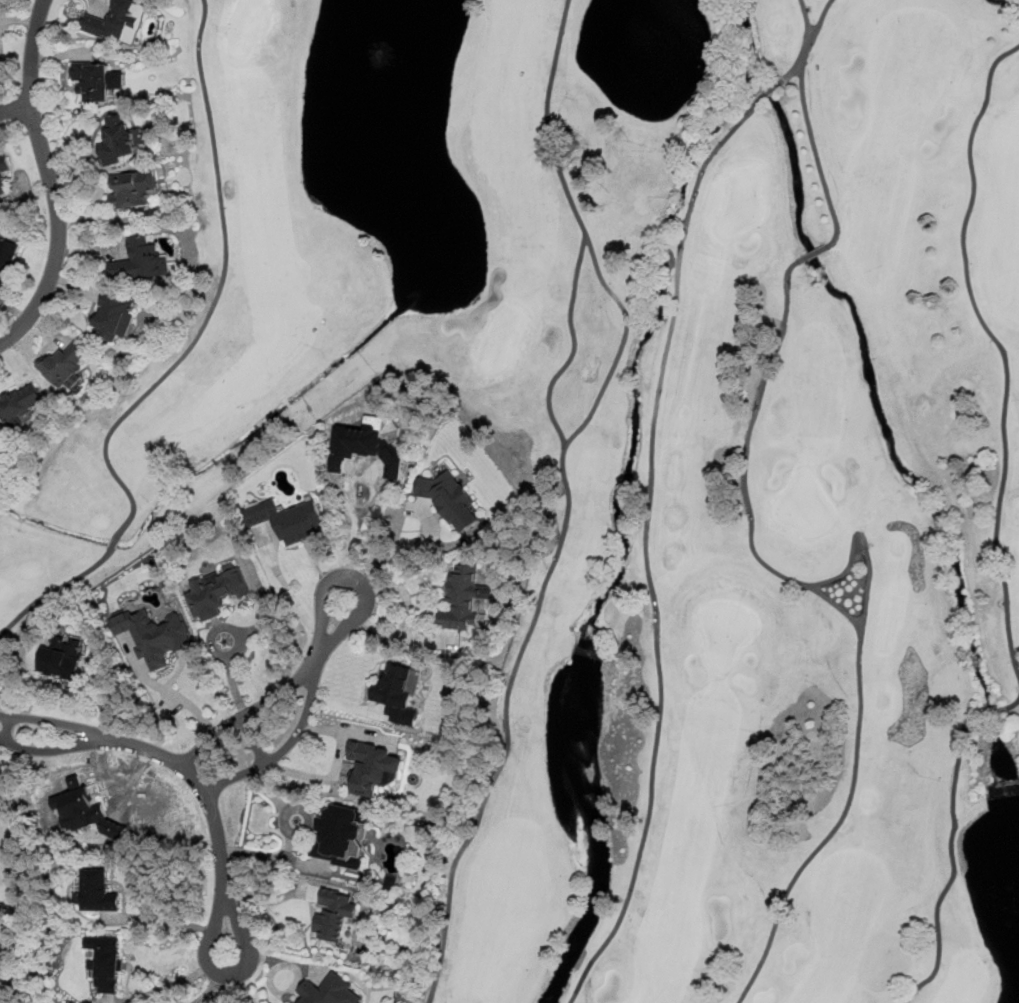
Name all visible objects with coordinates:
road: (806, 17)
building: (113, 21)
road: (794, 69)
building: (92, 82)
road: (16, 110)
road: (807, 122)
building: (116, 142)
building: (3, 173)
road: (50, 180)
building: (129, 192)
building: (7, 259)
building: (140, 262)
building: (113, 317)
road: (999, 345)
road: (571, 350)
building: (68, 369)
building: (19, 405)
building: (367, 449)
park: (647, 456)
road: (564, 493)
building: (450, 500)
building: (289, 521)
road: (352, 546)
road: (646, 550)
road: (865, 550)
road: (405, 553)
building: (220, 589)
road: (293, 596)
building: (461, 601)
road: (848, 616)
road: (409, 617)
building: (154, 636)
building: (62, 659)
building: (394, 687)
road: (173, 694)
road: (1013, 704)
road: (250, 710)
road: (305, 719)
road: (253, 739)
building: (373, 768)
road: (184, 769)
building: (79, 810)
building: (346, 835)
road: (954, 866)
park: (10, 892)
building: (96, 893)
building: (334, 916)
road: (178, 922)
building: (107, 962)
road: (215, 978)
building: (331, 991)

